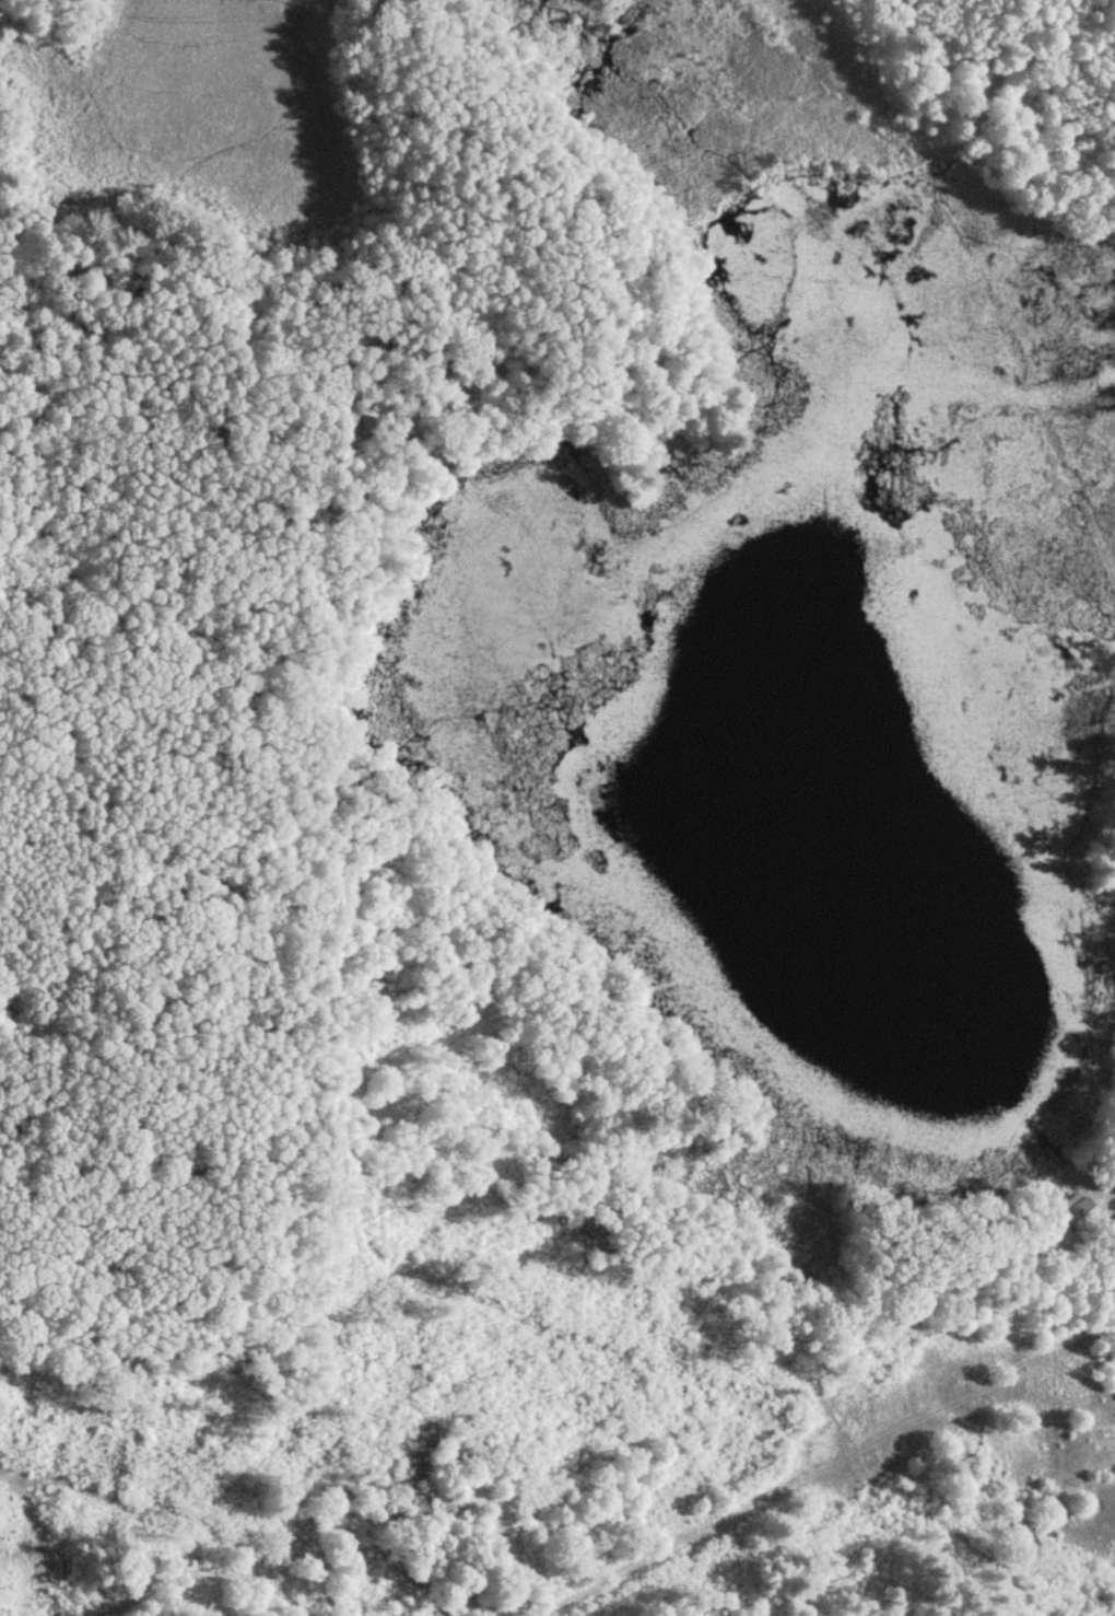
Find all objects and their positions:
river: (1089, 951)
building: (1075, 1213)

